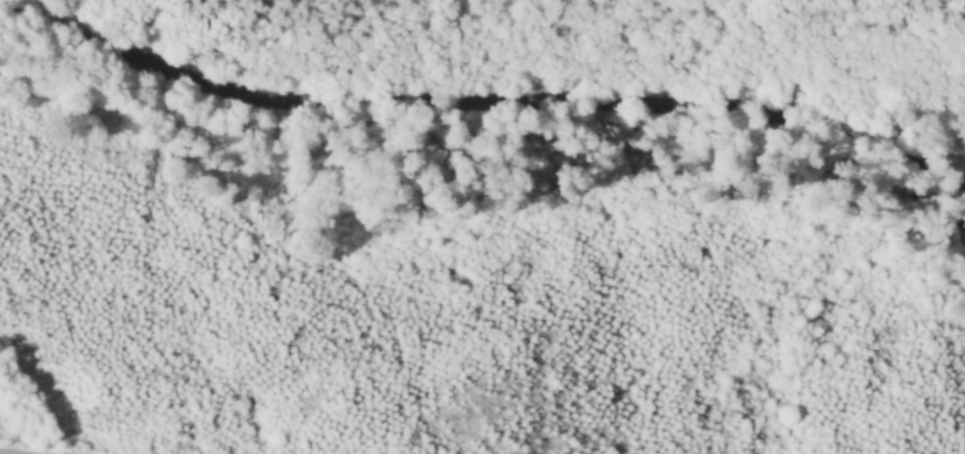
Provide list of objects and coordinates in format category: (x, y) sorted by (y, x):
road: (478, 100)

